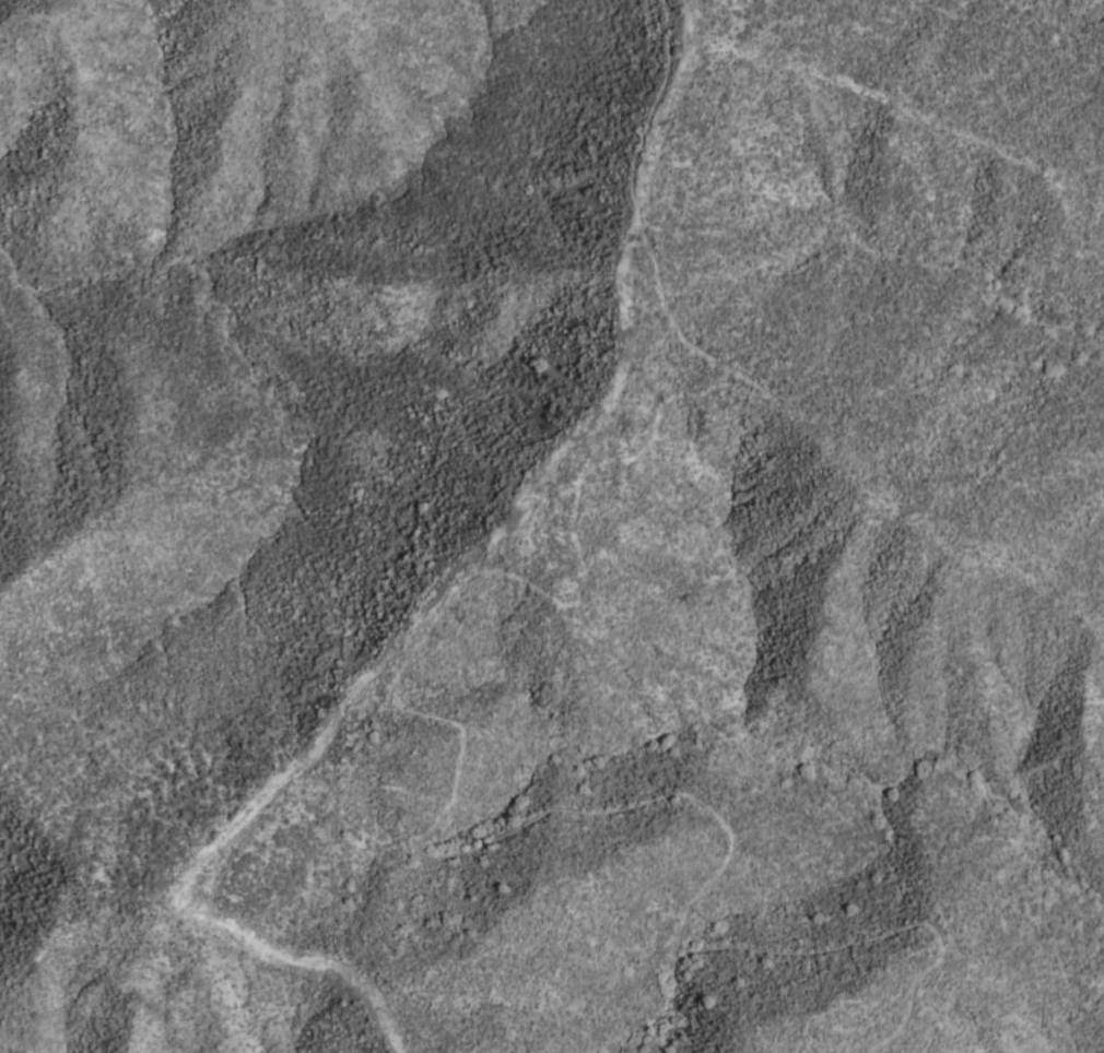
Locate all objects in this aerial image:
road: (392, 703)
road: (210, 884)

